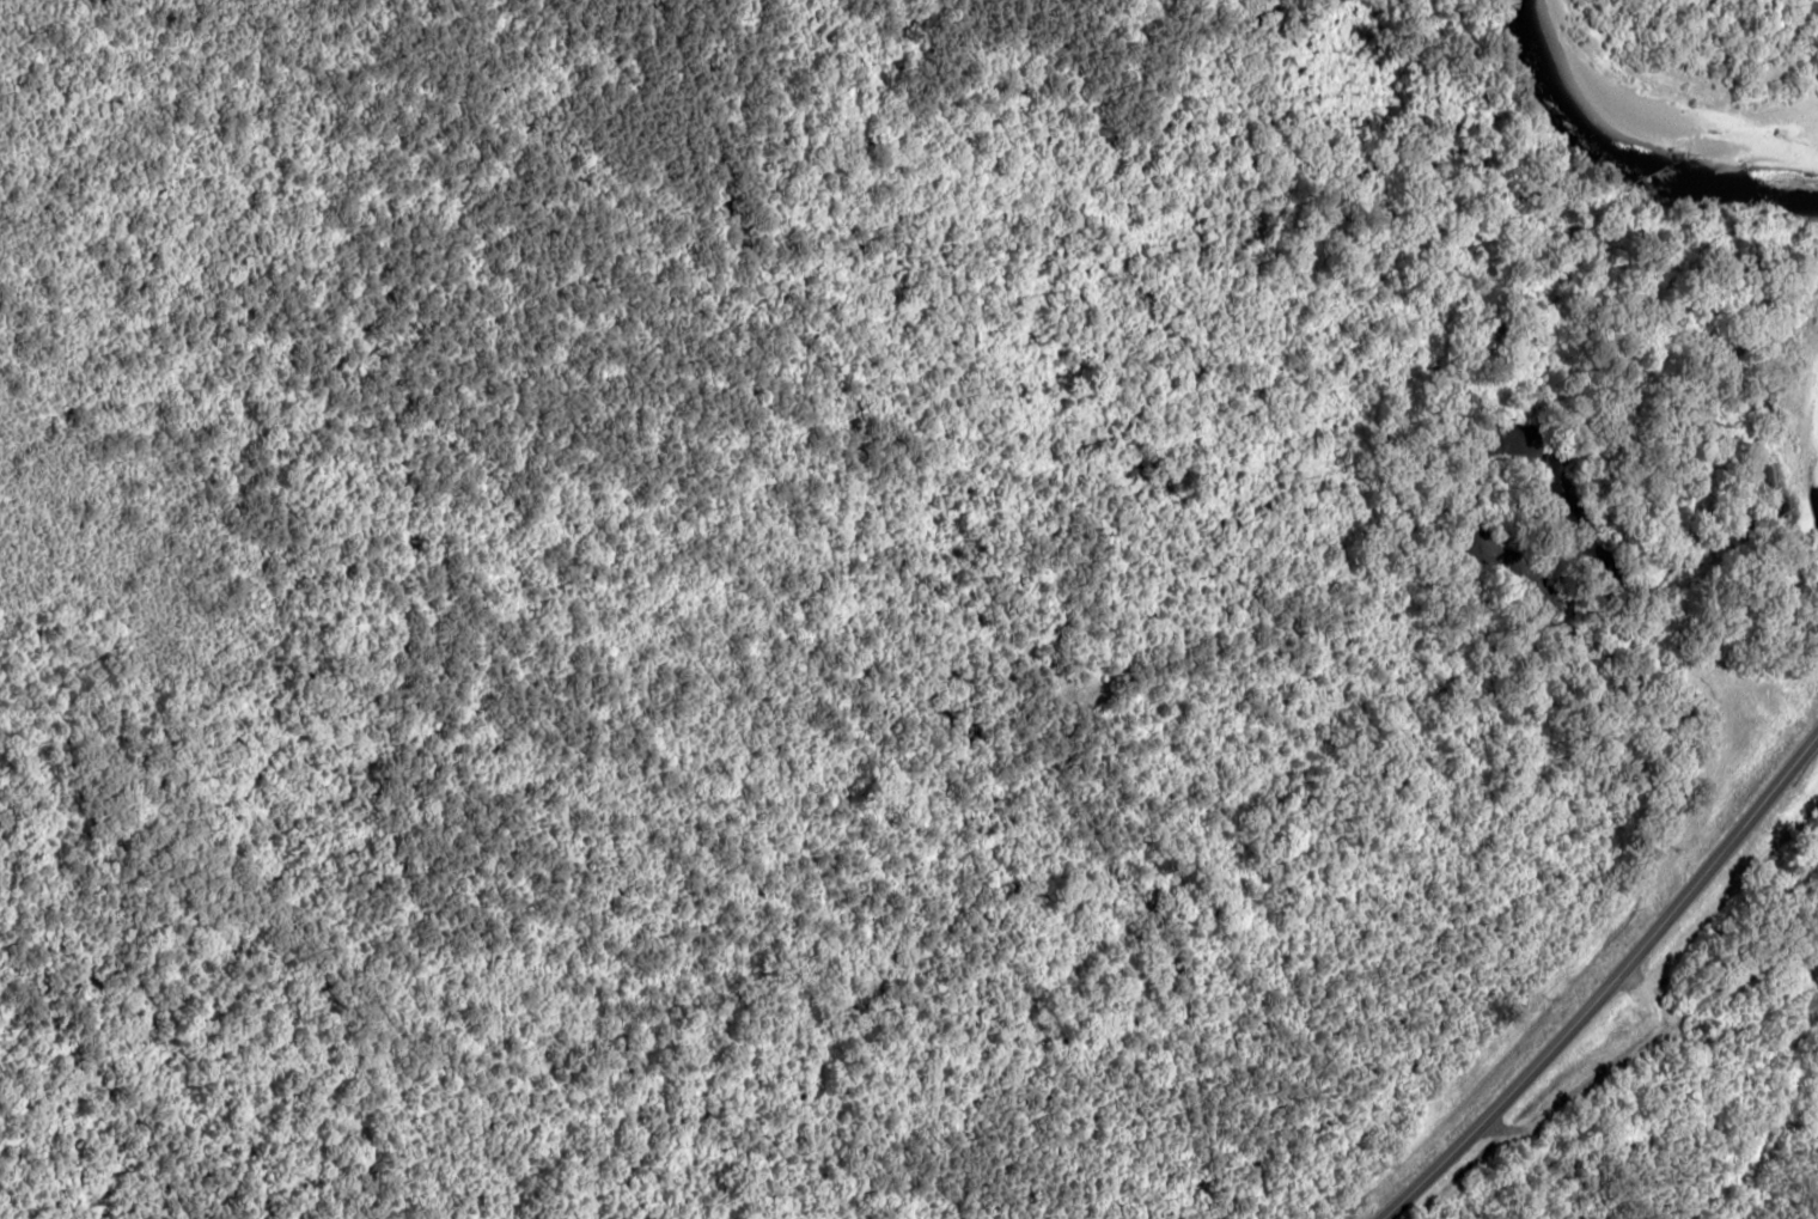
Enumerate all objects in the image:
road: (1609, 985)

